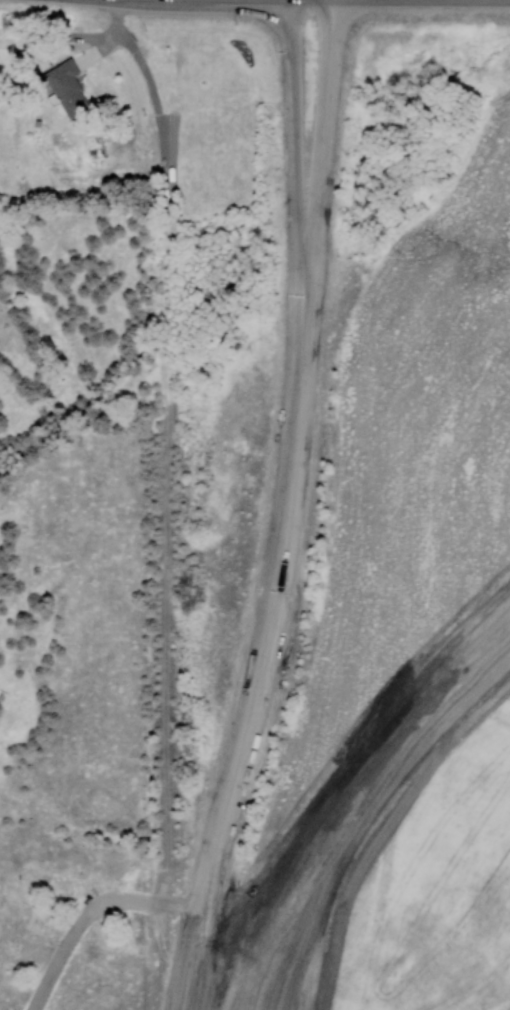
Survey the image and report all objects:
building: (68, 87)
road: (295, 457)
road: (353, 803)
crop: (437, 891)

